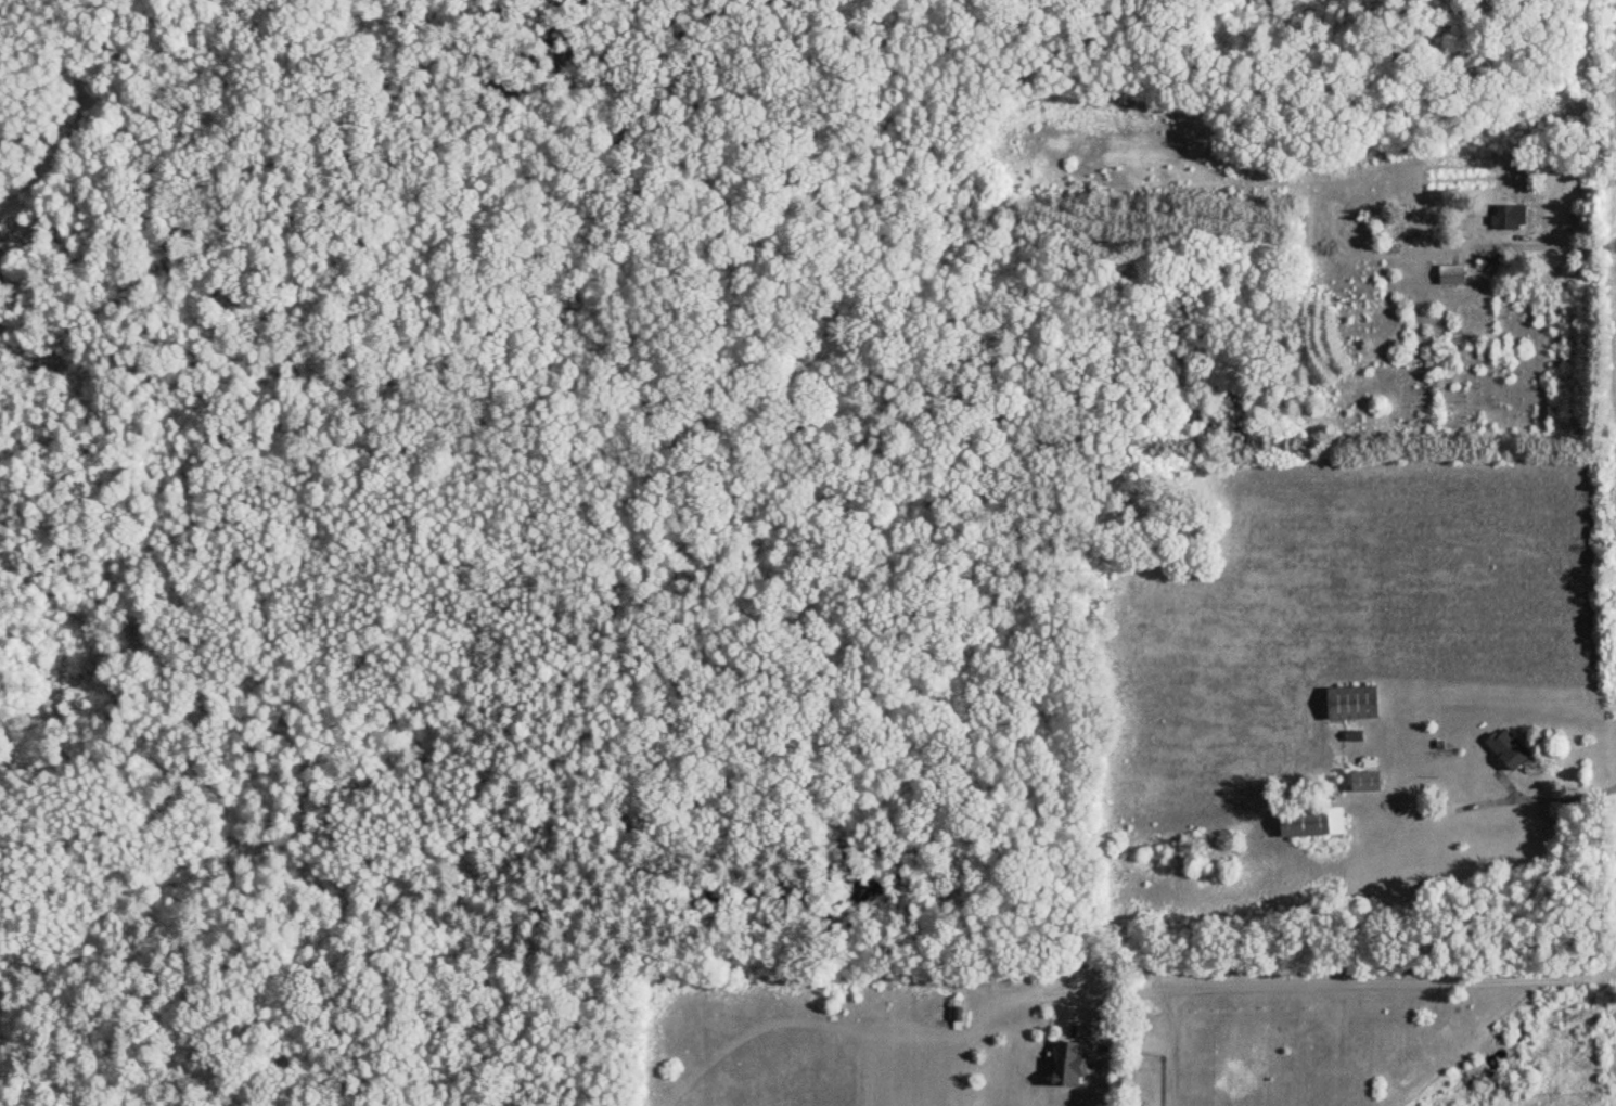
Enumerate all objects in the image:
building: (1508, 217)
building: (1449, 275)
building: (1349, 705)
building: (1506, 750)
building: (1363, 783)
road: (1476, 806)
building: (1308, 823)
road: (1346, 980)
building: (951, 1012)
road: (1465, 1039)
road: (114, 1041)
building: (1064, 1065)

